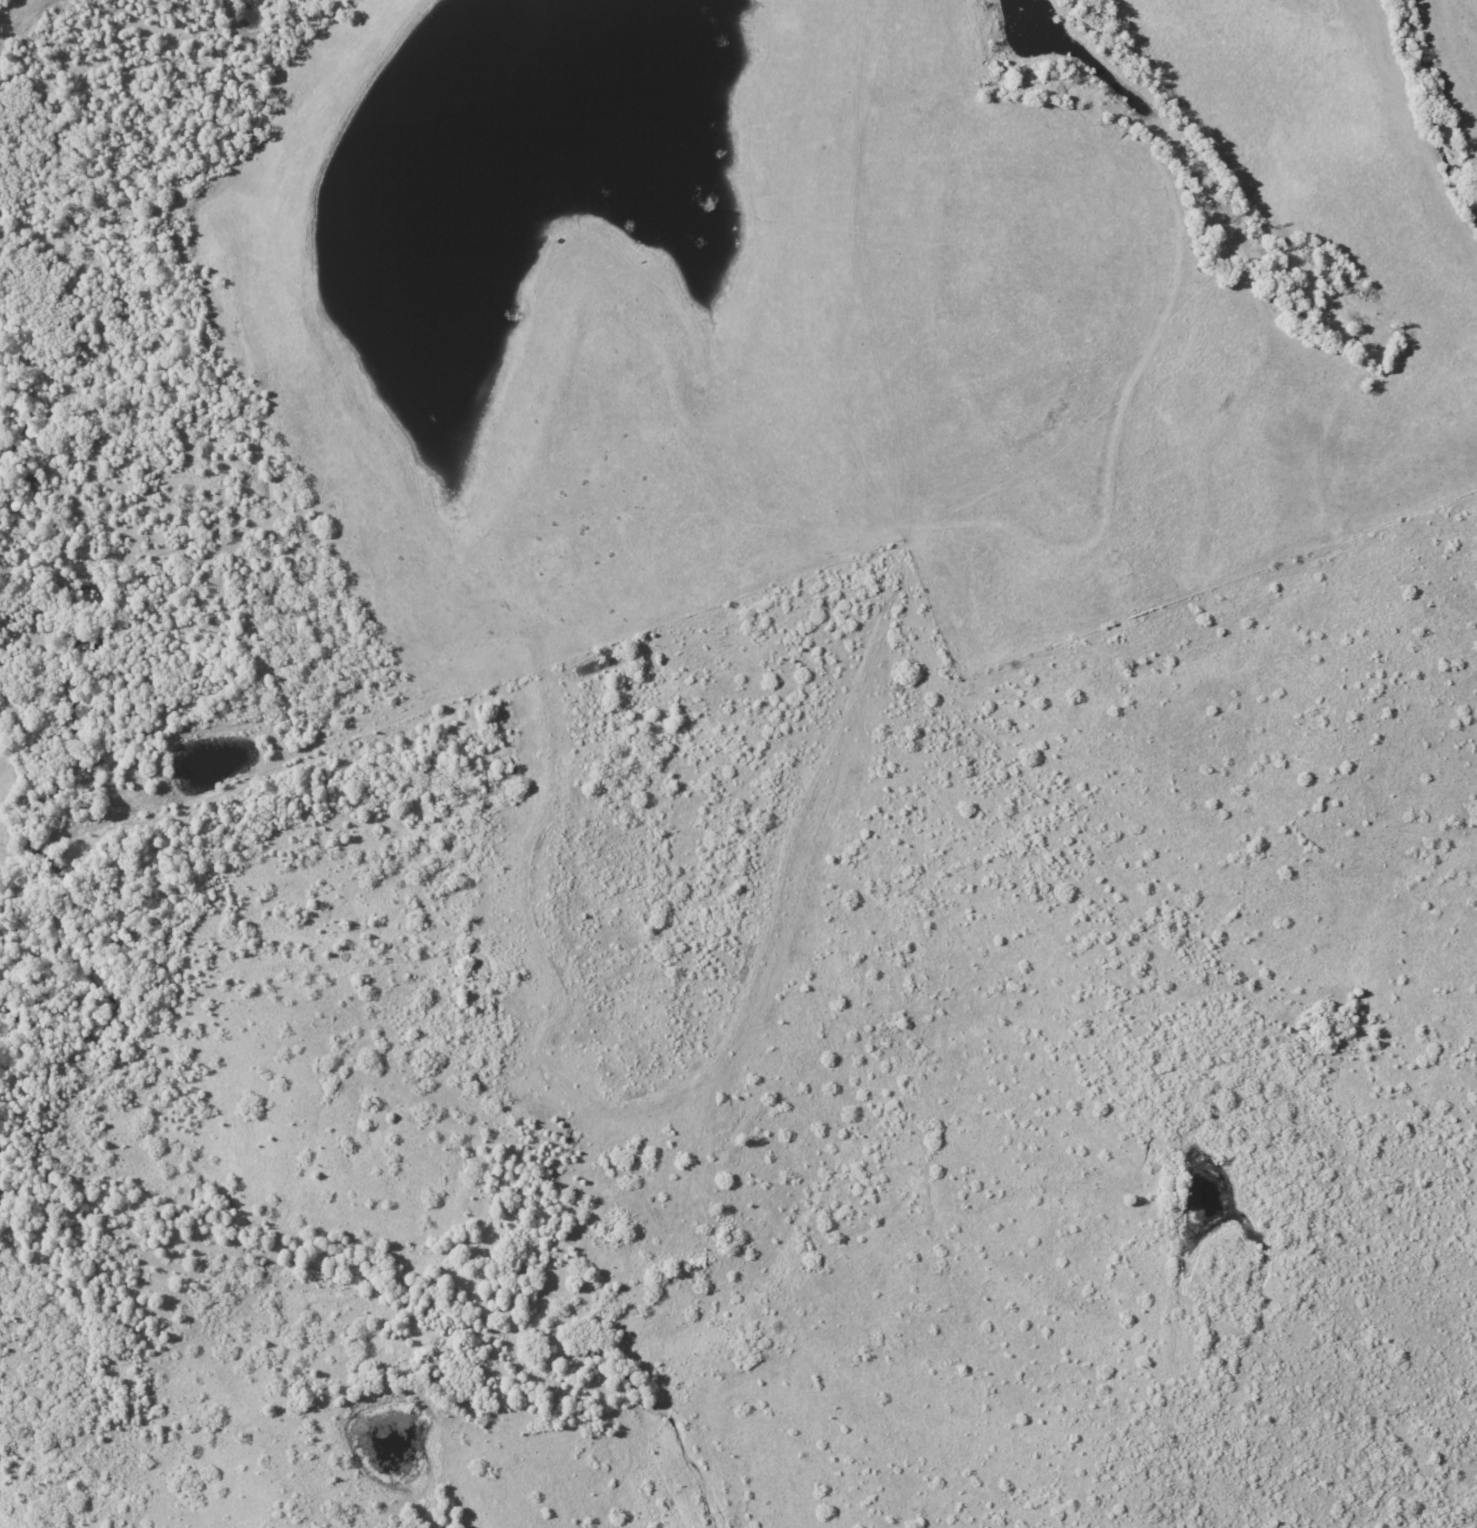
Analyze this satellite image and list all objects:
road: (1372, 407)

